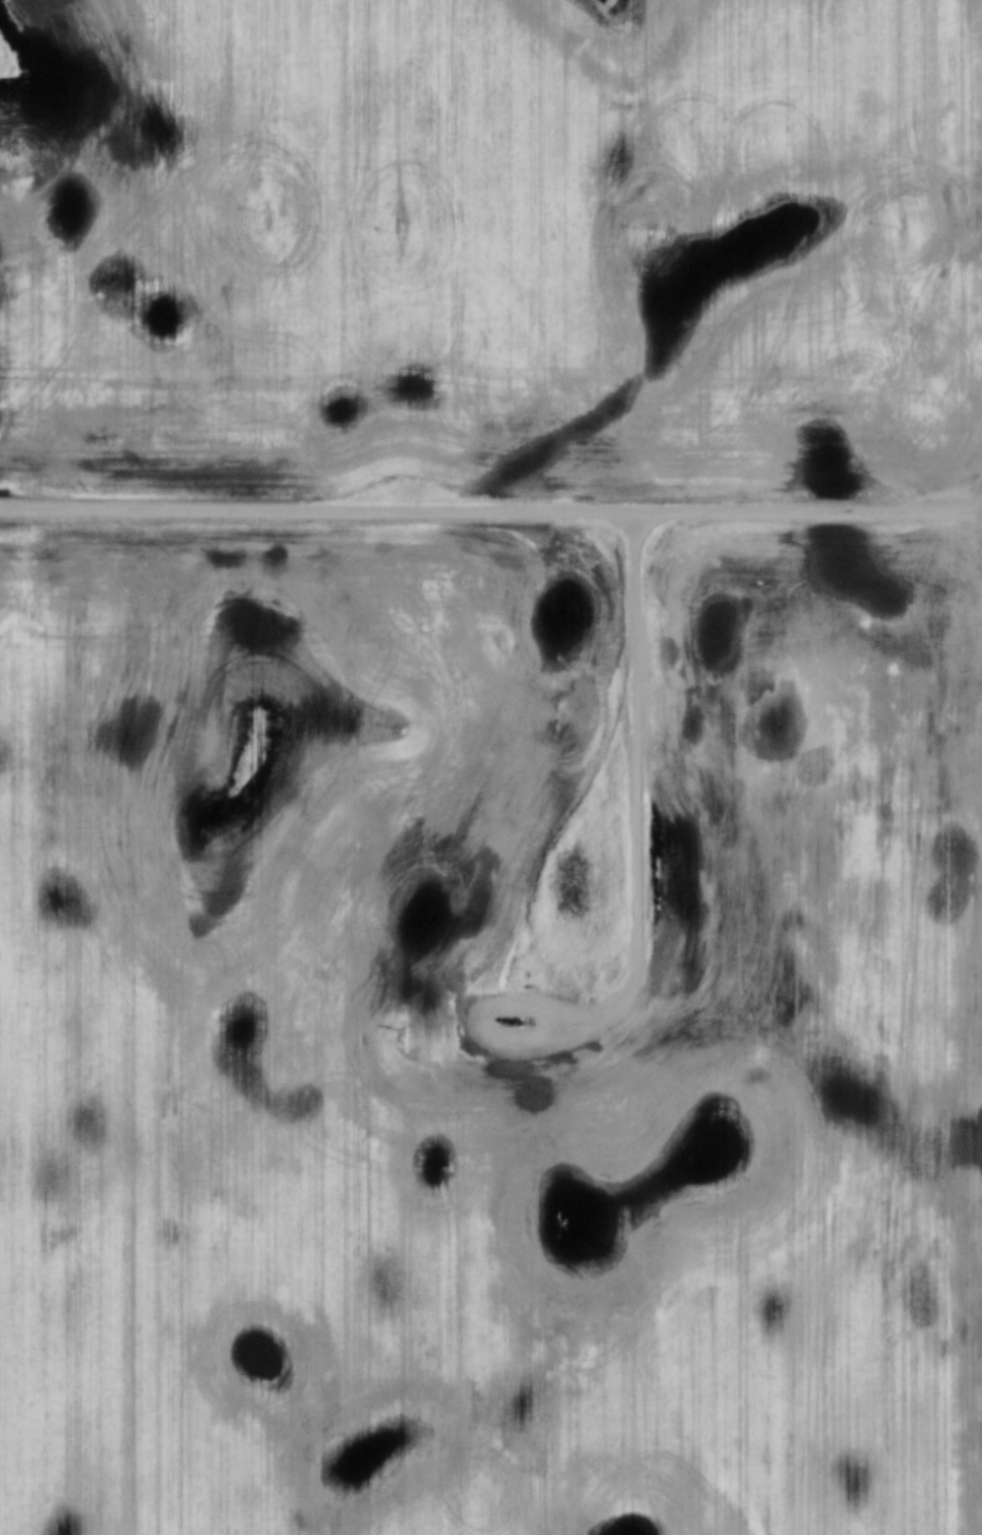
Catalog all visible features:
road: (491, 505)
road: (640, 780)
building: (509, 1009)

